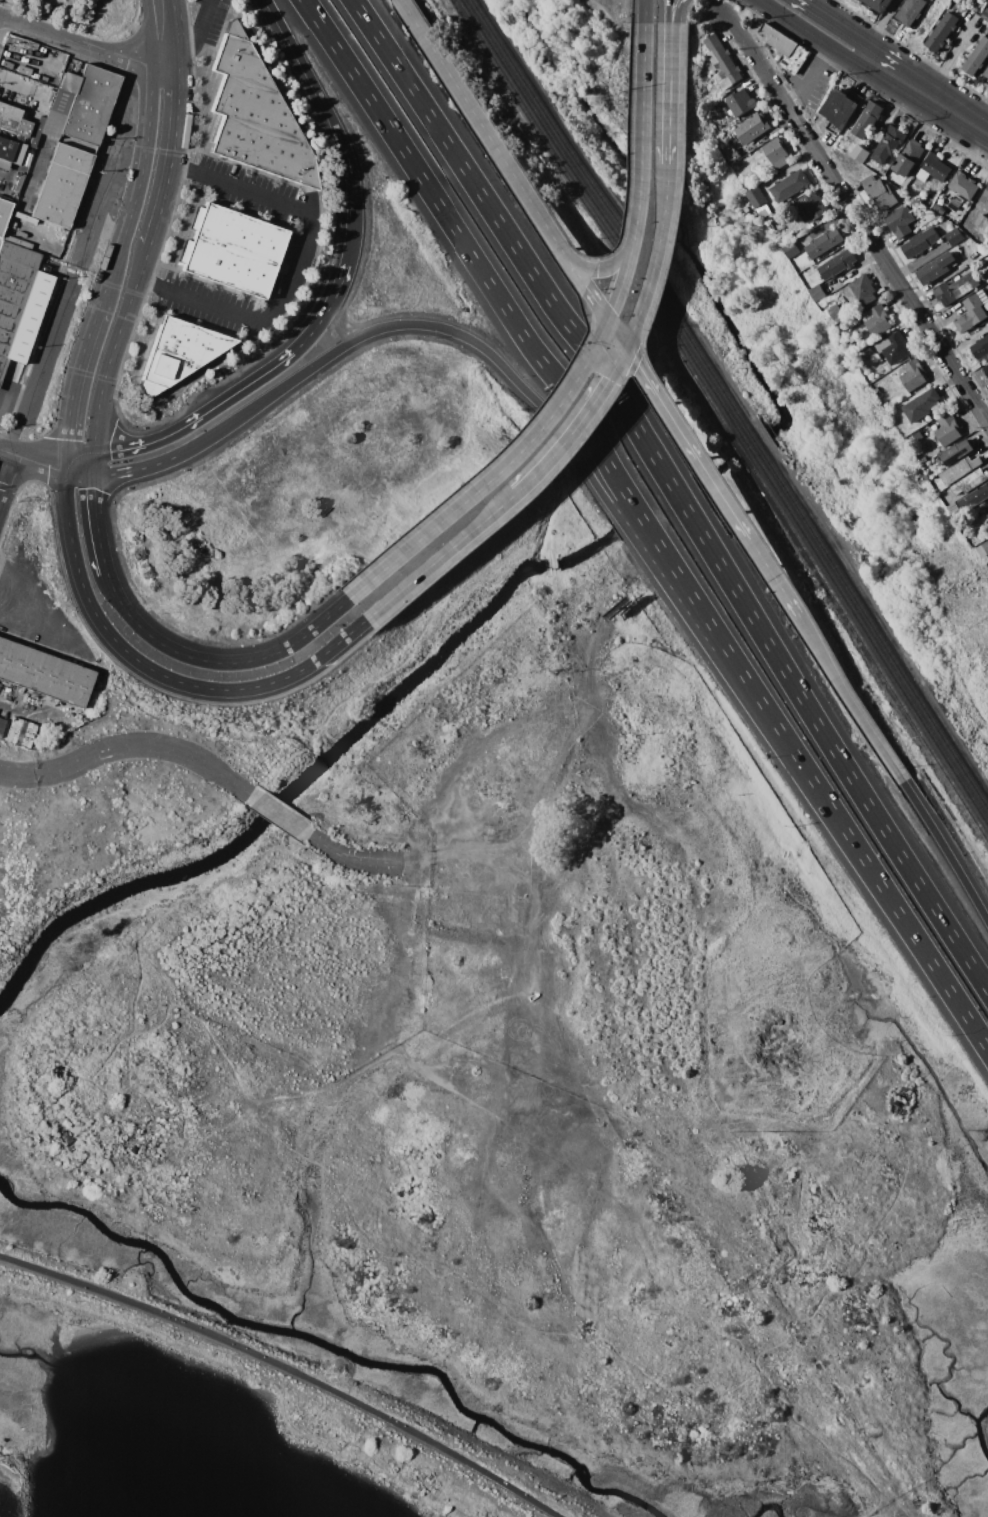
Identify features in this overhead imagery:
building: (987, 0)
building: (878, 4)
road: (645, 11)
road: (671, 11)
road: (677, 11)
building: (911, 11)
building: (985, 15)
road: (881, 21)
building: (942, 31)
road: (163, 32)
road: (852, 32)
road: (822, 43)
road: (81, 45)
building: (786, 49)
building: (977, 57)
building: (722, 62)
building: (985, 75)
road: (810, 79)
road: (669, 92)
building: (739, 104)
building: (90, 105)
road: (940, 105)
building: (59, 106)
building: (841, 109)
building: (255, 117)
building: (13, 120)
building: (867, 120)
building: (758, 124)
road: (482, 126)
road: (334, 127)
building: (36, 131)
building: (730, 134)
building: (888, 144)
building: (777, 152)
building: (859, 153)
building: (10, 154)
building: (732, 155)
building: (908, 157)
building: (42, 167)
building: (933, 169)
road: (641, 173)
building: (61, 185)
building: (790, 185)
building: (963, 185)
building: (879, 192)
road: (666, 194)
building: (756, 196)
building: (985, 198)
road: (99, 202)
building: (813, 205)
building: (936, 208)
road: (854, 213)
building: (4, 215)
railway: (610, 216)
railway: (602, 219)
railway: (593, 221)
building: (900, 221)
building: (981, 221)
building: (954, 236)
road: (511, 242)
building: (920, 242)
building: (824, 243)
building: (789, 249)
building: (232, 250)
road: (469, 254)
road: (143, 259)
road: (113, 263)
building: (838, 264)
road: (295, 265)
building: (53, 268)
building: (937, 268)
road: (596, 270)
road: (586, 286)
road: (648, 287)
building: (956, 288)
building: (864, 289)
building: (12, 292)
building: (818, 293)
road: (333, 296)
building: (31, 304)
building: (822, 304)
building: (974, 311)
building: (834, 315)
building: (866, 316)
building: (879, 321)
road: (366, 333)
road: (617, 333)
building: (981, 347)
building: (894, 348)
building: (178, 353)
road: (43, 361)
building: (986, 369)
building: (914, 375)
building: (922, 405)
road: (214, 406)
road: (580, 421)
building: (948, 430)
building: (918, 436)
railway: (754, 441)
road: (688, 442)
railway: (747, 446)
railway: (739, 450)
building: (957, 452)
road: (76, 455)
road: (31, 457)
road: (91, 462)
road: (6, 470)
building: (960, 470)
road: (496, 475)
building: (970, 482)
road: (675, 495)
building: (974, 498)
building: (987, 515)
road: (641, 518)
road: (95, 524)
road: (625, 527)
building: (983, 550)
road: (444, 553)
road: (774, 577)
railway: (873, 629)
road: (42, 636)
railway: (870, 639)
road: (721, 640)
road: (713, 644)
railway: (866, 649)
road: (217, 662)
road: (152, 671)
building: (44, 674)
road: (849, 699)
building: (2, 726)
building: (20, 732)
road: (128, 746)
road: (831, 748)
road: (278, 815)
road: (946, 852)
road: (351, 859)
road: (892, 902)
park: (229, 1365)
road: (283, 1372)
park: (613, 1377)
road: (261, 1378)

